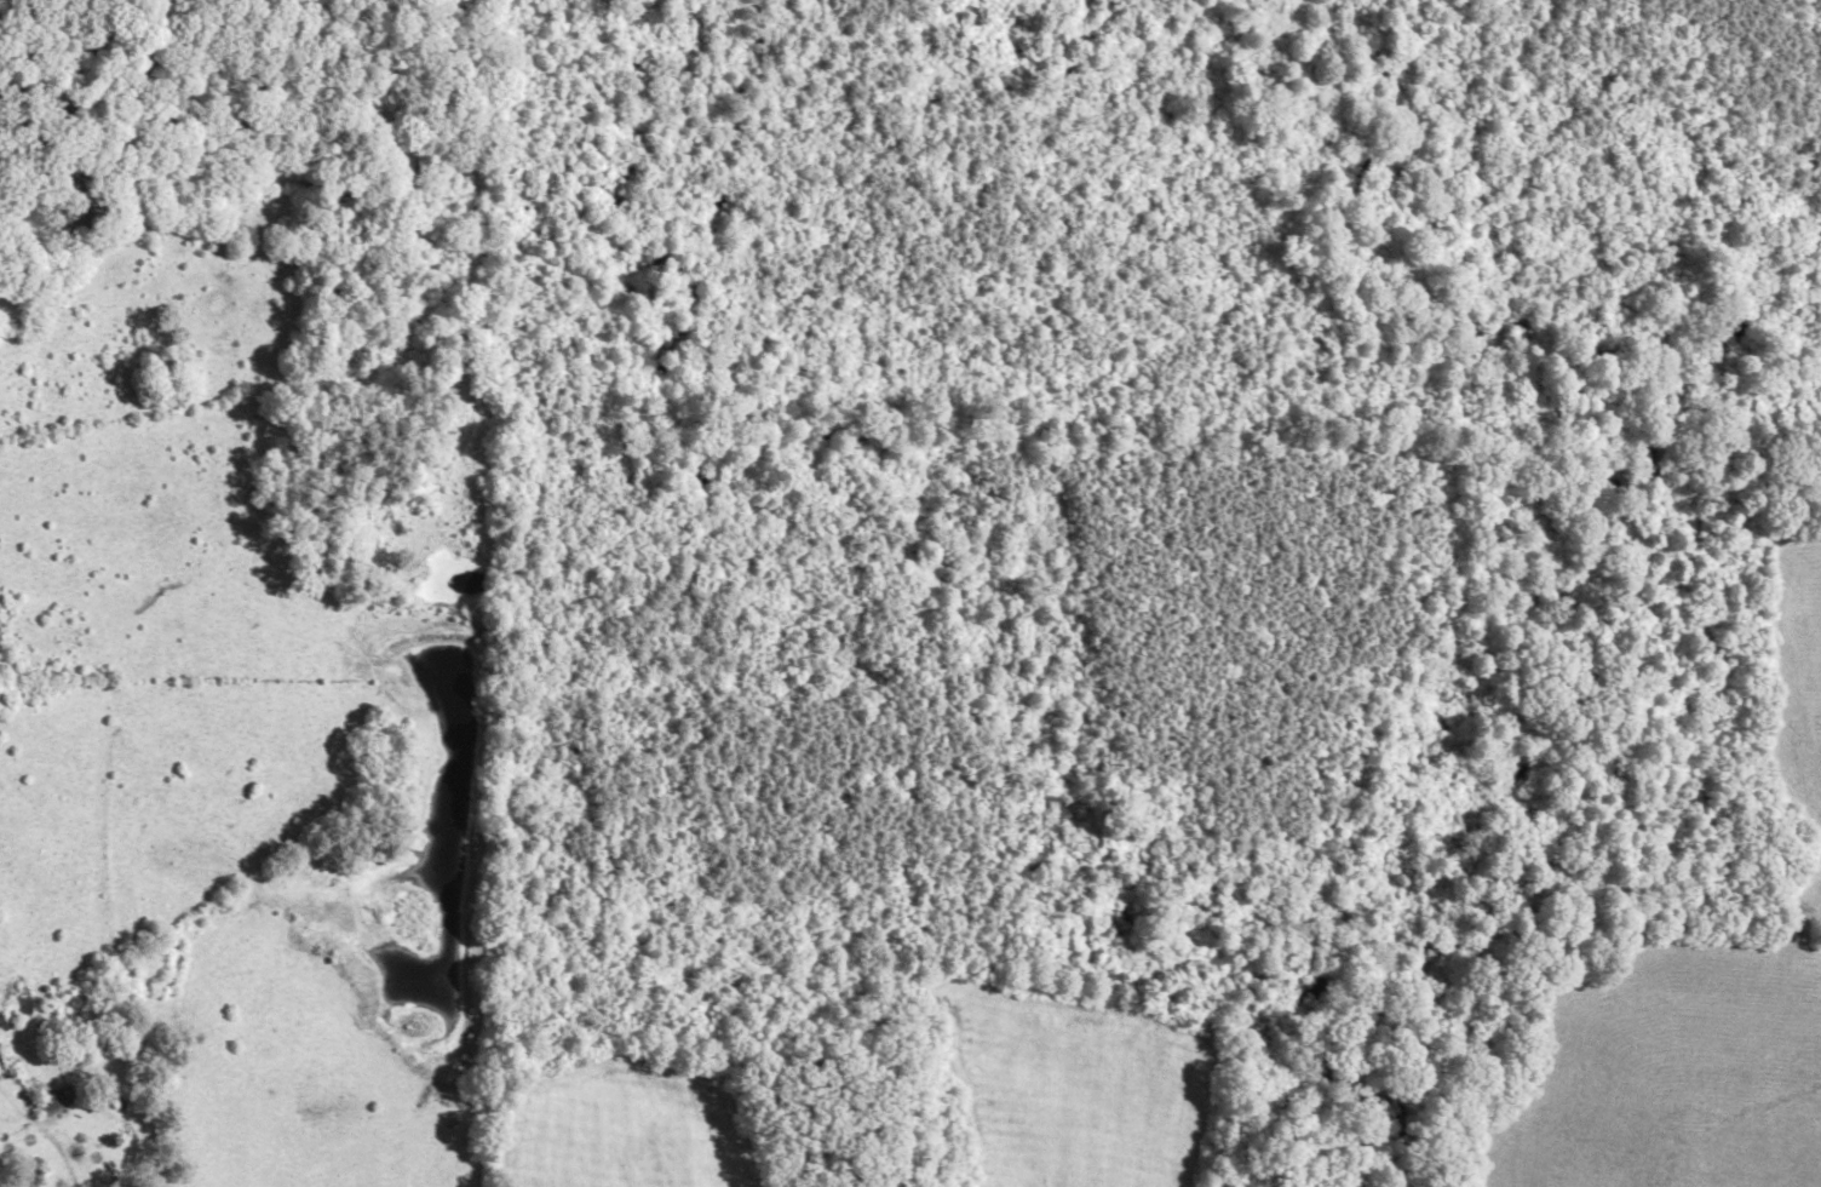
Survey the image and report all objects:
building: (50, 1105)

